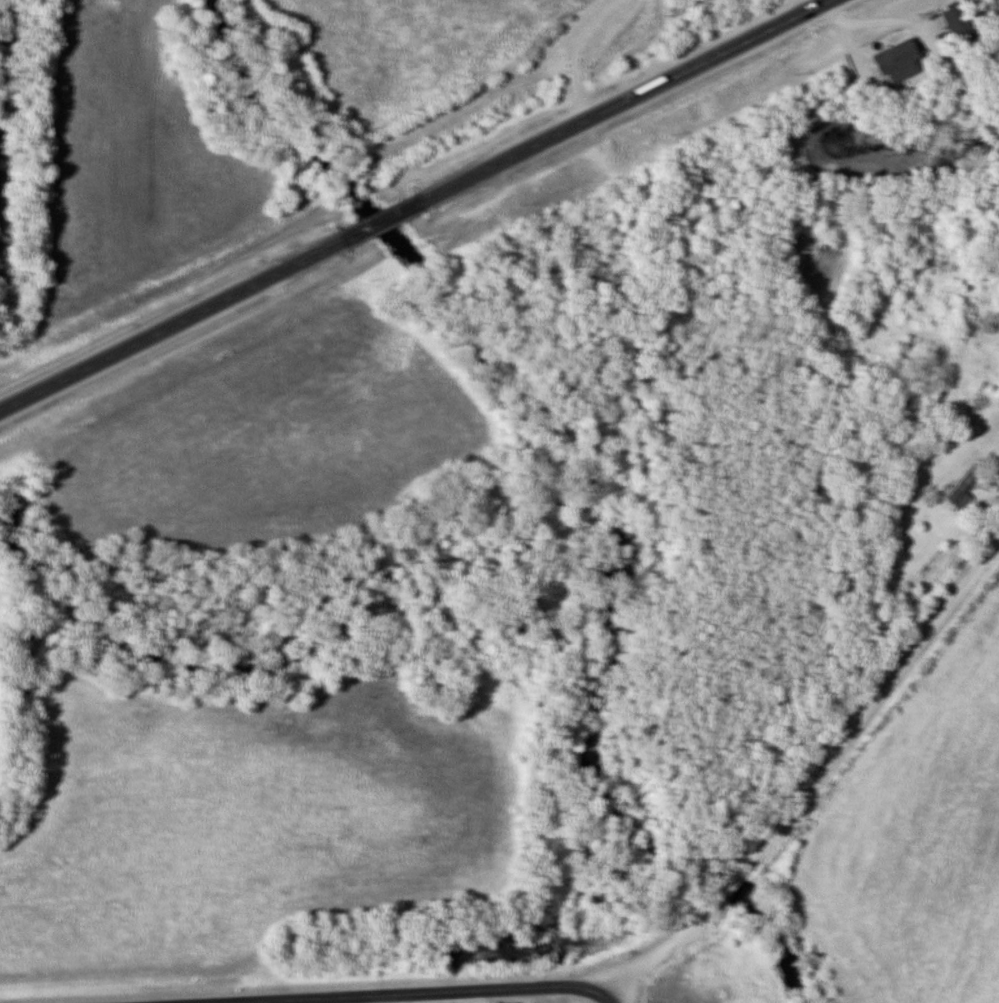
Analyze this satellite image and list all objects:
road: (814, 3)
building: (901, 51)
road: (569, 53)
road: (414, 204)
building: (957, 489)
road: (811, 775)
road: (394, 992)
road: (605, 1000)

